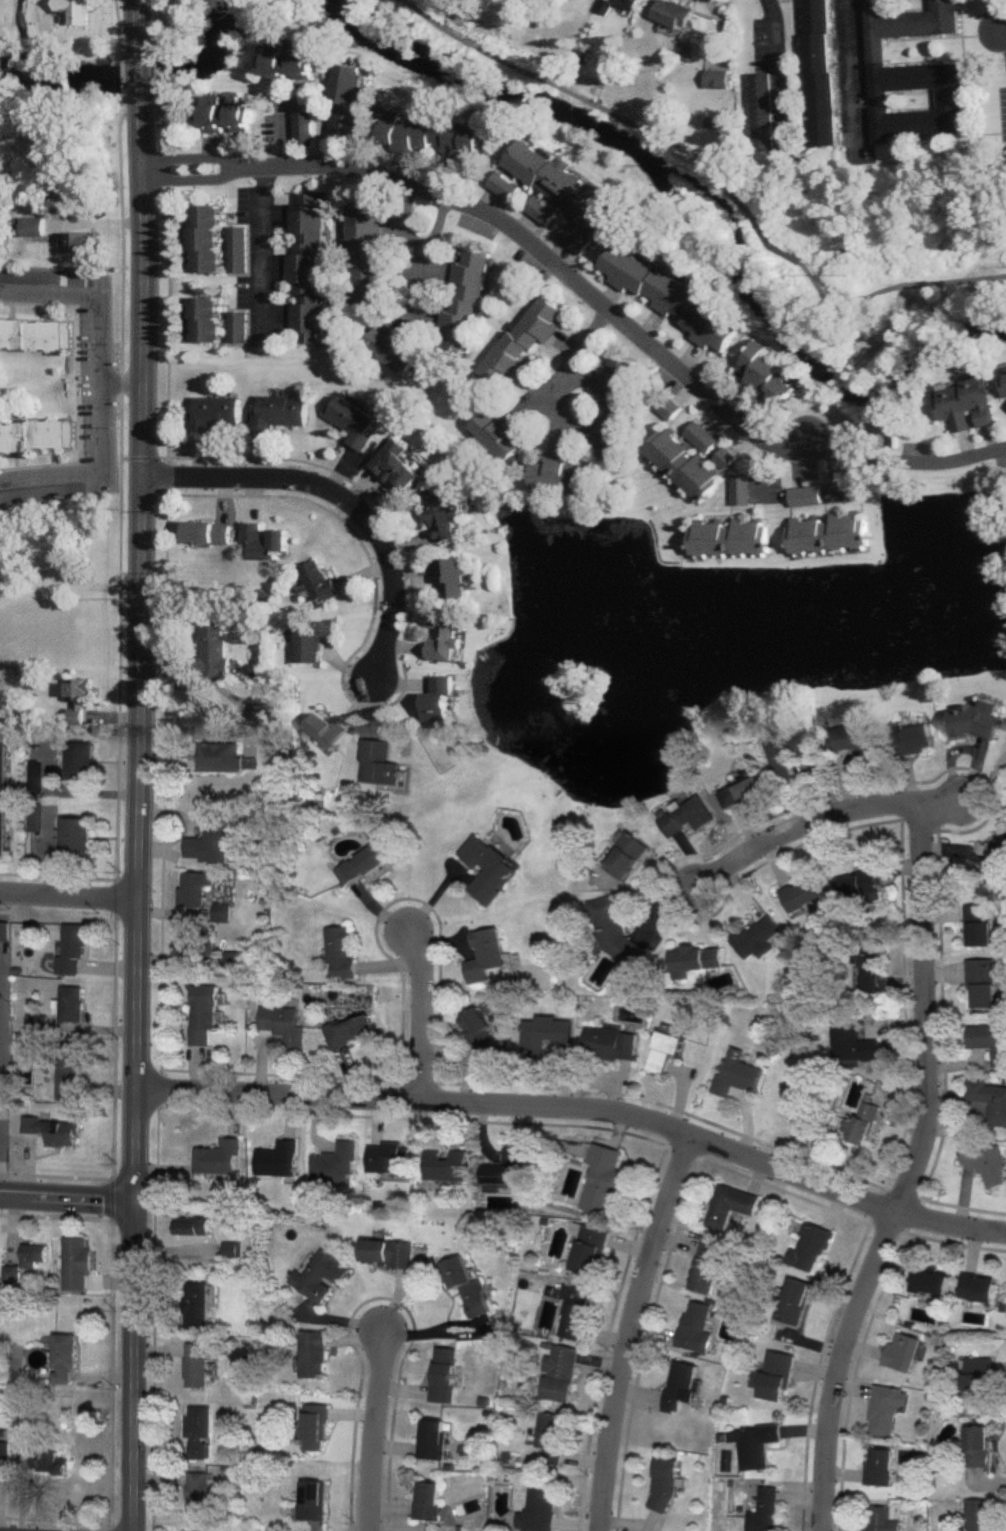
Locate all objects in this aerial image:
building: (869, 0)
building: (629, 4)
building: (74, 13)
building: (674, 15)
road: (998, 15)
road: (154, 25)
park: (181, 26)
road: (138, 27)
road: (719, 29)
road: (167, 31)
road: (1002, 35)
river: (33, 49)
road: (775, 62)
building: (288, 66)
road: (854, 70)
road: (168, 73)
building: (819, 73)
road: (139, 74)
road: (154, 74)
building: (915, 74)
river: (129, 80)
building: (717, 80)
road: (585, 101)
building: (347, 105)
building: (763, 113)
road: (168, 114)
building: (227, 119)
parking lot: (1003, 121)
road: (162, 127)
building: (306, 130)
building: (432, 136)
road: (286, 139)
road: (192, 158)
road: (193, 180)
building: (554, 188)
park: (810, 199)
river: (725, 204)
river: (688, 222)
road: (408, 225)
building: (35, 228)
building: (208, 240)
building: (577, 240)
building: (83, 244)
road: (770, 246)
road: (265, 252)
building: (364, 260)
road: (429, 260)
building: (308, 269)
building: (63, 279)
road: (889, 289)
building: (675, 300)
building: (466, 306)
building: (207, 320)
road: (625, 323)
building: (238, 328)
building: (34, 336)
building: (524, 342)
building: (393, 349)
road: (569, 370)
building: (767, 374)
building: (1004, 380)
road: (122, 383)
road: (98, 390)
building: (966, 403)
building: (616, 409)
building: (216, 414)
building: (280, 414)
building: (354, 424)
building: (499, 436)
building: (703, 438)
building: (35, 439)
building: (726, 460)
building: (686, 465)
building: (399, 468)
road: (769, 470)
building: (558, 476)
building: (743, 492)
building: (844, 494)
road: (344, 498)
building: (808, 498)
building: (443, 516)
building: (207, 535)
building: (830, 535)
building: (731, 539)
building: (264, 544)
building: (56, 550)
building: (450, 579)
building: (317, 584)
building: (440, 639)
building: (309, 641)
road: (143, 646)
building: (213, 648)
road: (211, 684)
building: (257, 690)
building: (78, 699)
building: (436, 704)
building: (974, 721)
building: (326, 731)
building: (913, 739)
building: (855, 740)
building: (788, 751)
building: (219, 757)
building: (80, 761)
building: (375, 763)
building: (742, 791)
building: (2, 797)
road: (943, 798)
building: (33, 816)
building: (687, 816)
road: (802, 823)
building: (74, 838)
building: (209, 840)
building: (624, 854)
building: (997, 862)
building: (363, 863)
building: (486, 865)
building: (862, 883)
building: (195, 887)
building: (804, 893)
road: (69, 896)
building: (222, 912)
building: (980, 925)
building: (613, 931)
building: (757, 936)
building: (198, 944)
building: (71, 950)
building: (340, 952)
building: (484, 957)
building: (696, 958)
building: (869, 973)
building: (982, 983)
building: (71, 1003)
road: (2, 1006)
road: (423, 1013)
building: (203, 1015)
building: (282, 1025)
building: (349, 1030)
building: (544, 1032)
building: (480, 1034)
building: (989, 1040)
building: (849, 1042)
building: (609, 1043)
building: (665, 1050)
building: (69, 1070)
building: (736, 1072)
building: (989, 1099)
road: (581, 1107)
road: (401, 1111)
road: (237, 1112)
road: (290, 1113)
road: (377, 1117)
building: (861, 1121)
road: (318, 1124)
building: (54, 1128)
road: (618, 1129)
building: (388, 1152)
building: (218, 1154)
building: (278, 1154)
building: (336, 1161)
building: (448, 1161)
building: (986, 1161)
building: (499, 1167)
road: (909, 1171)
road: (755, 1172)
building: (603, 1176)
road: (69, 1196)
building: (729, 1203)
road: (889, 1221)
building: (191, 1222)
road: (629, 1238)
building: (231, 1248)
building: (387, 1249)
building: (589, 1250)
building: (32, 1254)
building: (76, 1262)
building: (704, 1266)
building: (10, 1272)
building: (802, 1272)
building: (318, 1276)
building: (929, 1279)
road: (400, 1280)
building: (467, 1283)
building: (977, 1286)
road: (382, 1291)
building: (197, 1302)
road: (390, 1307)
road: (321, 1310)
building: (574, 1312)
road: (368, 1316)
road: (455, 1324)
building: (693, 1326)
road: (871, 1327)
road: (399, 1328)
road: (627, 1328)
road: (604, 1329)
road: (368, 1335)
road: (339, 1337)
road: (162, 1344)
building: (312, 1351)
building: (901, 1351)
building: (63, 1357)
road: (599, 1361)
building: (198, 1362)
road: (135, 1365)
building: (443, 1370)
building: (561, 1370)
building: (774, 1375)
building: (978, 1375)
road: (388, 1382)
road: (415, 1383)
building: (679, 1385)
road: (351, 1408)
building: (884, 1409)
building: (315, 1423)
road: (374, 1424)
building: (199, 1426)
building: (551, 1430)
building: (432, 1435)
road: (396, 1440)
building: (753, 1444)
road: (161, 1445)
building: (978, 1445)
building: (3, 1451)
road: (583, 1451)
building: (34, 1455)
building: (878, 1466)
road: (161, 1472)
building: (662, 1484)
building: (199, 1489)
building: (311, 1496)
building: (426, 1497)
road: (393, 1501)
building: (539, 1508)
building: (763, 1511)
building: (978, 1515)
road: (576, 1518)
building: (876, 1518)
building: (199, 1525)
road: (328, 1530)

